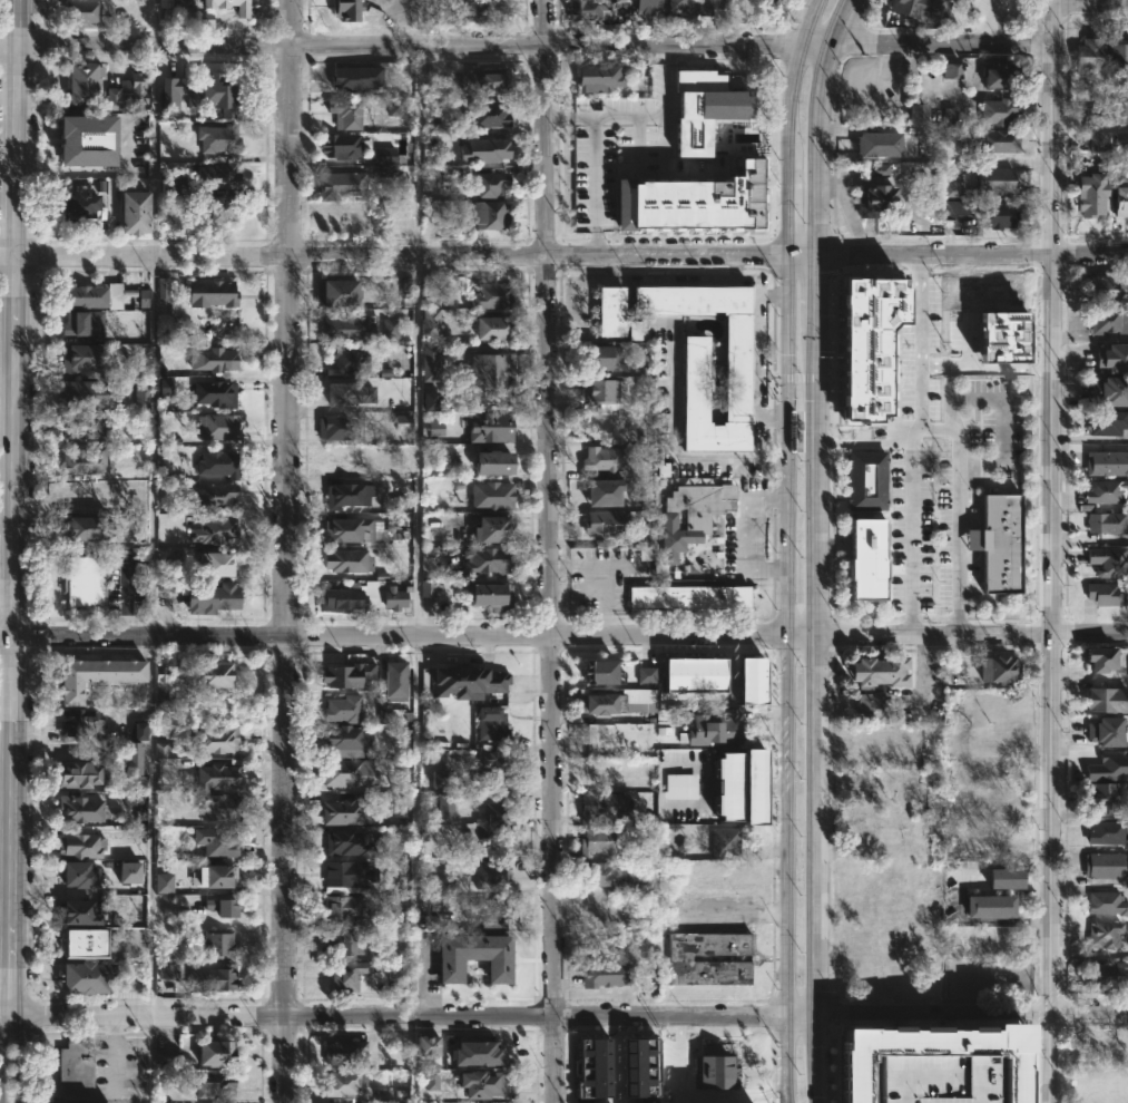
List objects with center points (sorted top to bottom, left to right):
building: (188, 0)
building: (772, 3)
road: (1090, 3)
building: (620, 4)
building: (680, 6)
building: (648, 7)
building: (708, 7)
building: (923, 9)
building: (166, 10)
building: (400, 10)
building: (588, 10)
building: (81, 11)
building: (482, 11)
building: (243, 12)
road: (989, 20)
road: (815, 45)
road: (942, 45)
road: (399, 46)
building: (1118, 53)
building: (1091, 56)
building: (951, 70)
building: (601, 76)
building: (1003, 76)
building: (356, 78)
building: (84, 85)
building: (489, 85)
building: (127, 92)
building: (216, 98)
building: (395, 108)
road: (669, 108)
building: (705, 108)
building: (1120, 108)
building: (1000, 111)
building: (346, 113)
building: (922, 114)
building: (1092, 115)
road: (605, 117)
building: (482, 118)
road: (1090, 127)
building: (944, 129)
building: (218, 137)
building: (993, 139)
building: (87, 140)
building: (1121, 140)
building: (1098, 143)
building: (881, 144)
building: (342, 146)
building: (490, 149)
building: (383, 155)
building: (951, 168)
building: (877, 169)
road: (694, 172)
building: (217, 175)
building: (998, 179)
building: (174, 185)
building: (491, 185)
building: (951, 185)
building: (343, 186)
road: (596, 187)
building: (1093, 194)
building: (1122, 197)
building: (693, 202)
building: (80, 205)
building: (882, 206)
building: (222, 208)
building: (957, 208)
building: (135, 212)
building: (997, 213)
building: (490, 215)
building: (343, 217)
road: (392, 254)
road: (803, 254)
road: (936, 254)
road: (1090, 254)
road: (674, 283)
building: (428, 286)
building: (1108, 287)
building: (164, 290)
building: (213, 292)
building: (337, 292)
building: (998, 292)
road: (898, 294)
building: (95, 295)
building: (491, 295)
building: (144, 299)
building: (177, 308)
building: (610, 311)
building: (1108, 320)
building: (429, 321)
building: (82, 322)
building: (341, 325)
building: (391, 328)
building: (496, 328)
building: (634, 331)
building: (1003, 336)
building: (869, 344)
road: (934, 344)
road: (755, 354)
building: (78, 357)
building: (602, 357)
building: (1114, 358)
building: (213, 359)
building: (344, 361)
building: (895, 361)
building: (430, 362)
building: (487, 373)
building: (697, 379)
building: (165, 387)
building: (602, 391)
building: (1111, 391)
building: (214, 392)
building: (89, 393)
building: (347, 393)
road: (984, 393)
building: (141, 394)
building: (430, 400)
building: (1107, 421)
building: (403, 422)
building: (80, 426)
building: (215, 426)
building: (489, 426)
building: (341, 427)
road: (674, 427)
building: (437, 428)
railway: (803, 451)
building: (606, 458)
building: (343, 459)
building: (85, 461)
building: (217, 462)
building: (494, 462)
road: (955, 463)
building: (1107, 463)
building: (866, 479)
building: (604, 490)
building: (1107, 490)
building: (215, 495)
building: (349, 495)
building: (492, 495)
road: (14, 507)
building: (694, 515)
road: (7, 518)
building: (1107, 521)
building: (604, 523)
road: (906, 528)
building: (87, 529)
building: (352, 529)
building: (175, 530)
building: (496, 530)
building: (216, 531)
building: (1002, 545)
railway: (806, 548)
road: (822, 548)
road: (785, 549)
railway: (789, 549)
road: (154, 550)
road: (418, 550)
road: (549, 550)
road: (1052, 550)
road: (284, 551)
building: (872, 559)
building: (349, 560)
building: (487, 562)
building: (1109, 562)
building: (219, 565)
building: (84, 582)
building: (429, 587)
building: (1106, 593)
road: (127, 595)
building: (366, 595)
building: (489, 595)
building: (690, 597)
building: (210, 599)
road: (1090, 633)
road: (936, 634)
road: (392, 635)
road: (803, 635)
road: (957, 653)
building: (1101, 658)
building: (1002, 667)
building: (883, 668)
road: (922, 668)
building: (602, 672)
building: (349, 674)
building: (95, 675)
building: (646, 675)
building: (695, 675)
building: (216, 676)
building: (398, 681)
building: (751, 681)
building: (465, 682)
building: (161, 684)
building: (616, 700)
building: (1106, 700)
building: (874, 704)
building: (344, 707)
building: (393, 714)
building: (80, 721)
building: (490, 722)
building: (716, 728)
building: (1108, 730)
building: (139, 731)
building: (215, 738)
building: (347, 739)
building: (160, 750)
building: (133, 757)
building: (490, 767)
building: (1109, 767)
building: (347, 771)
building: (79, 773)
building: (214, 777)
building: (441, 778)
building: (680, 785)
building: (1102, 798)
building: (716, 804)
building: (219, 806)
building: (400, 806)
building: (447, 806)
building: (601, 806)
building: (80, 808)
building: (342, 811)
building: (490, 821)
building: (1107, 832)
building: (216, 840)
building: (598, 841)
building: (725, 841)
building: (353, 843)
building: (80, 846)
building: (1106, 865)
building: (129, 872)
building: (491, 873)
building: (601, 873)
building: (216, 875)
building: (349, 875)
building: (78, 876)
building: (1006, 878)
building: (164, 882)
building: (448, 887)
building: (1107, 902)
building: (351, 906)
building: (223, 907)
building: (990, 907)
building: (485, 908)
building: (77, 912)
road: (983, 921)
building: (1107, 934)
building: (349, 940)
building: (214, 941)
building: (81, 943)
building: (475, 956)
building: (709, 958)
building: (171, 970)
building: (605, 975)
building: (1108, 975)
building: (86, 976)
building: (349, 976)
building: (210, 978)
road: (802, 1012)
road: (827, 1012)
road: (936, 1012)
road: (1026, 1012)
road: (1091, 1012)
road: (392, 1016)
road: (934, 1022)
road: (1048, 1028)
building: (1106, 1042)
building: (429, 1045)
building: (215, 1052)
building: (478, 1053)
building: (349, 1054)
road: (24, 1056)
building: (166, 1056)
road: (1, 1057)
road: (616, 1060)
building: (638, 1065)
building: (932, 1065)
building: (595, 1067)
building: (73, 1070)
building: (716, 1071)
building: (344, 1083)
building: (483, 1084)
building: (214, 1087)
building: (433, 1087)
road: (696, 1092)

